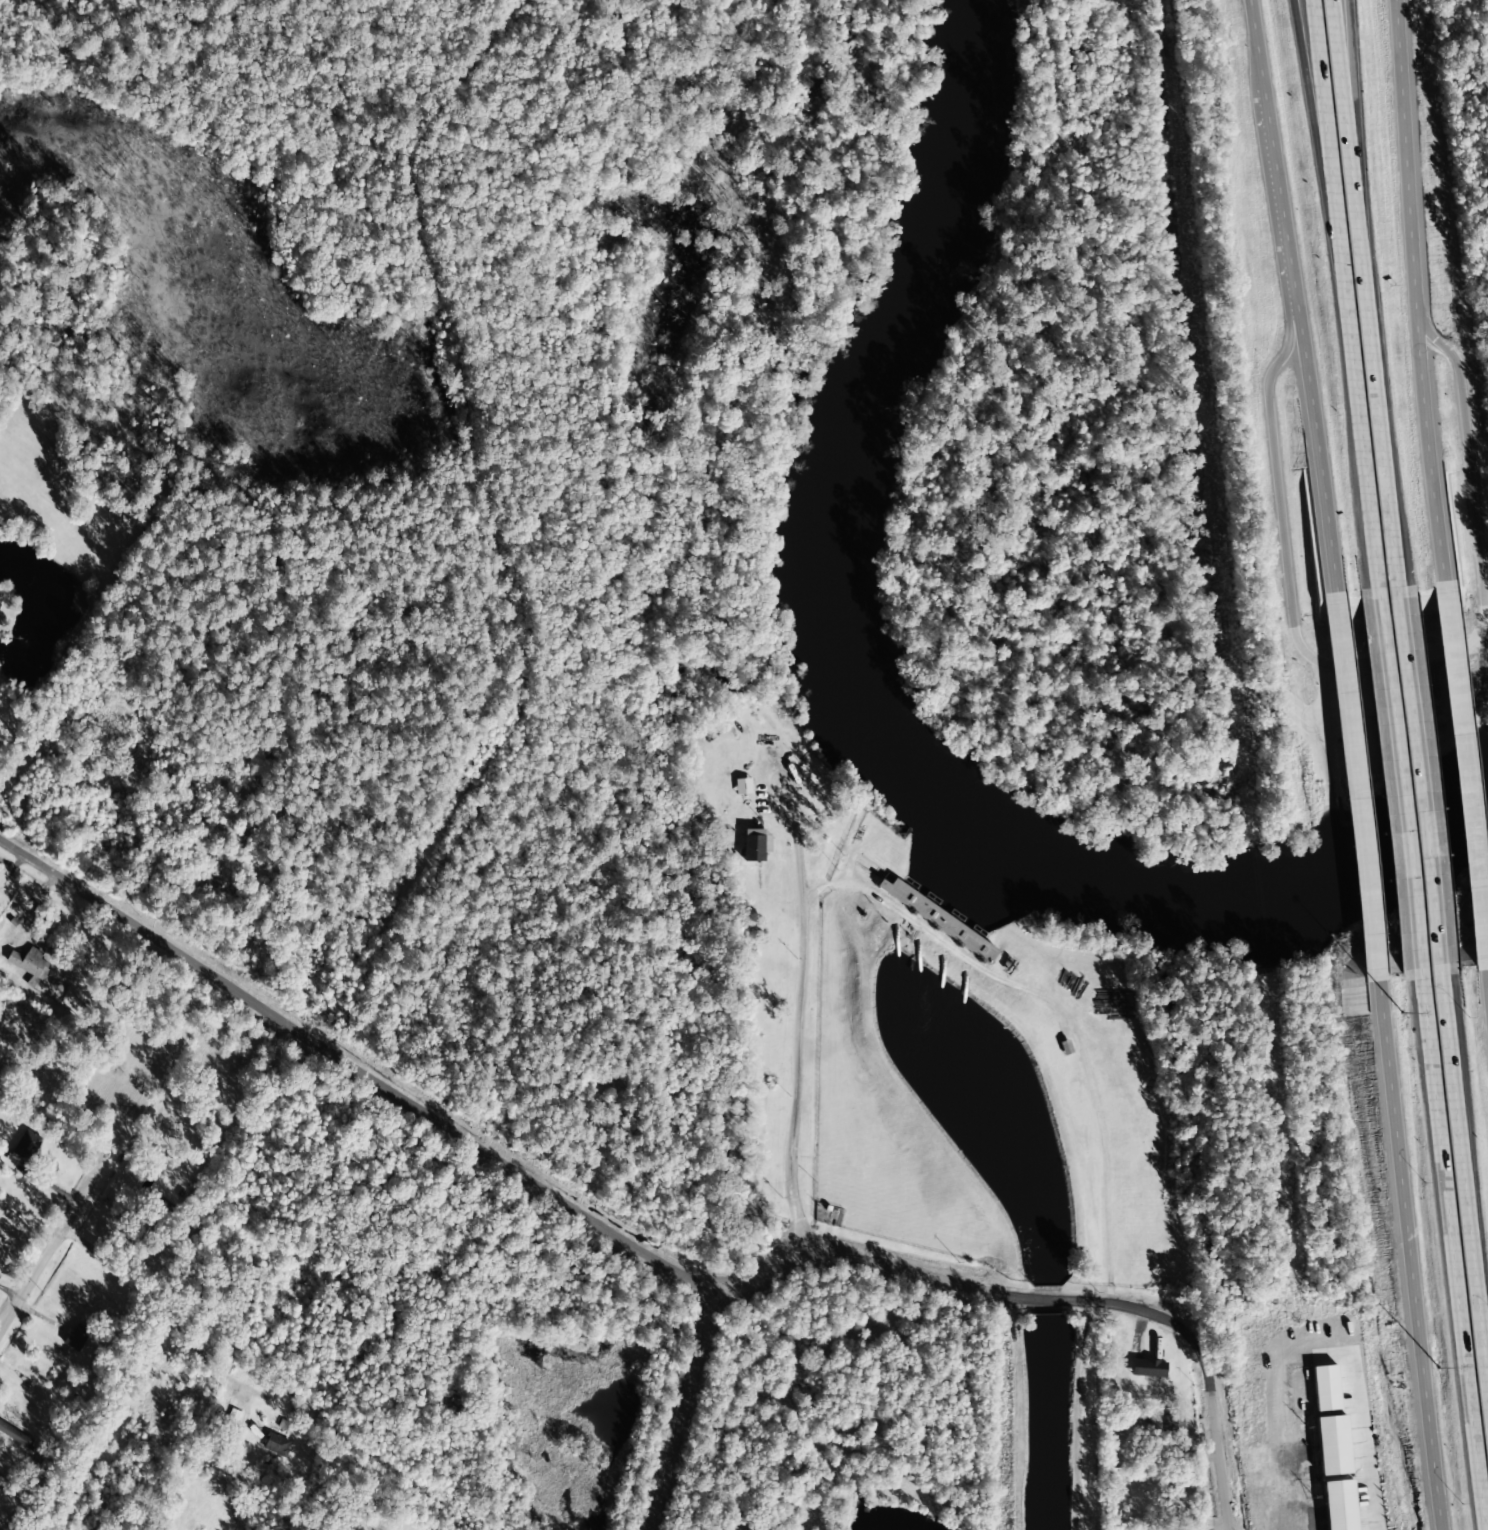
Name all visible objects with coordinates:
road: (1350, 101)
road: (1341, 102)
road: (1315, 133)
road: (1323, 133)
road: (1412, 291)
road: (1286, 298)
road: (1375, 401)
road: (1357, 433)
river: (818, 542)
road: (1459, 779)
road: (1423, 783)
road: (1396, 784)
building: (742, 786)
road: (1350, 790)
building: (756, 845)
river: (1341, 886)
building: (938, 920)
building: (29, 963)
road: (1484, 1005)
road: (405, 1098)
building: (23, 1148)
road: (1467, 1168)
road: (53, 1240)
road: (1450, 1249)
road: (1404, 1257)
road: (894, 1268)
building: (76, 1337)
building: (1147, 1368)
building: (1325, 1388)
road: (682, 1409)
building: (1166, 1424)
building: (9, 1432)
building: (275, 1445)
building: (1332, 1445)
building: (1352, 1501)

